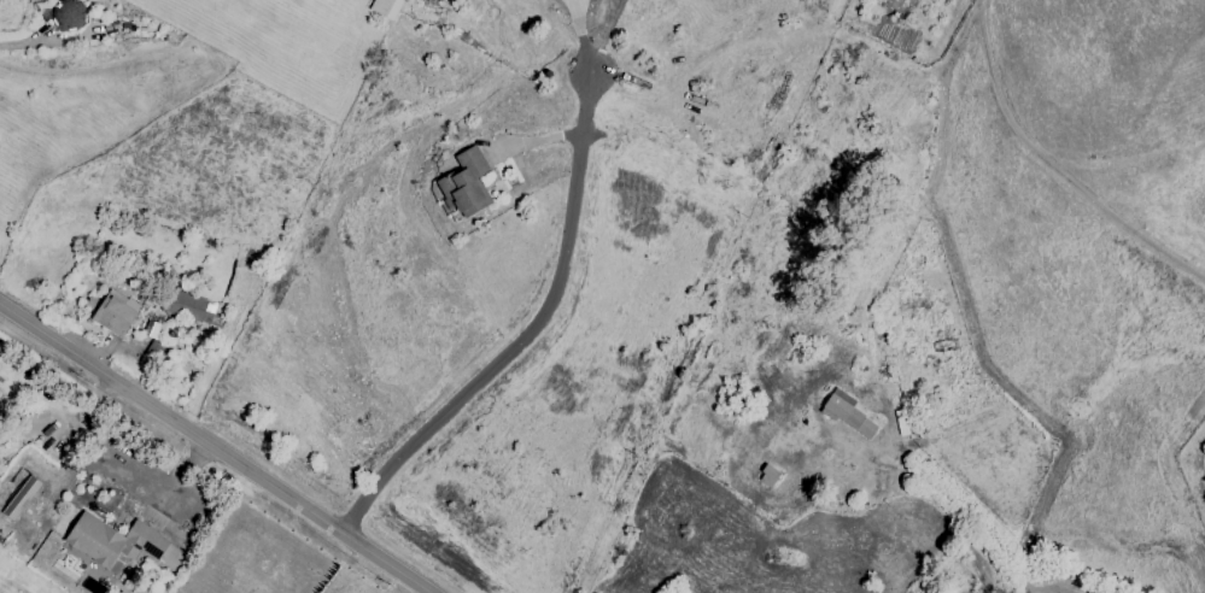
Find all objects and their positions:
building: (385, 7)
road: (25, 41)
building: (464, 183)
building: (186, 306)
building: (115, 312)
road: (530, 335)
building: (153, 351)
building: (847, 412)
road: (215, 447)
building: (767, 475)
building: (19, 497)
building: (115, 540)

